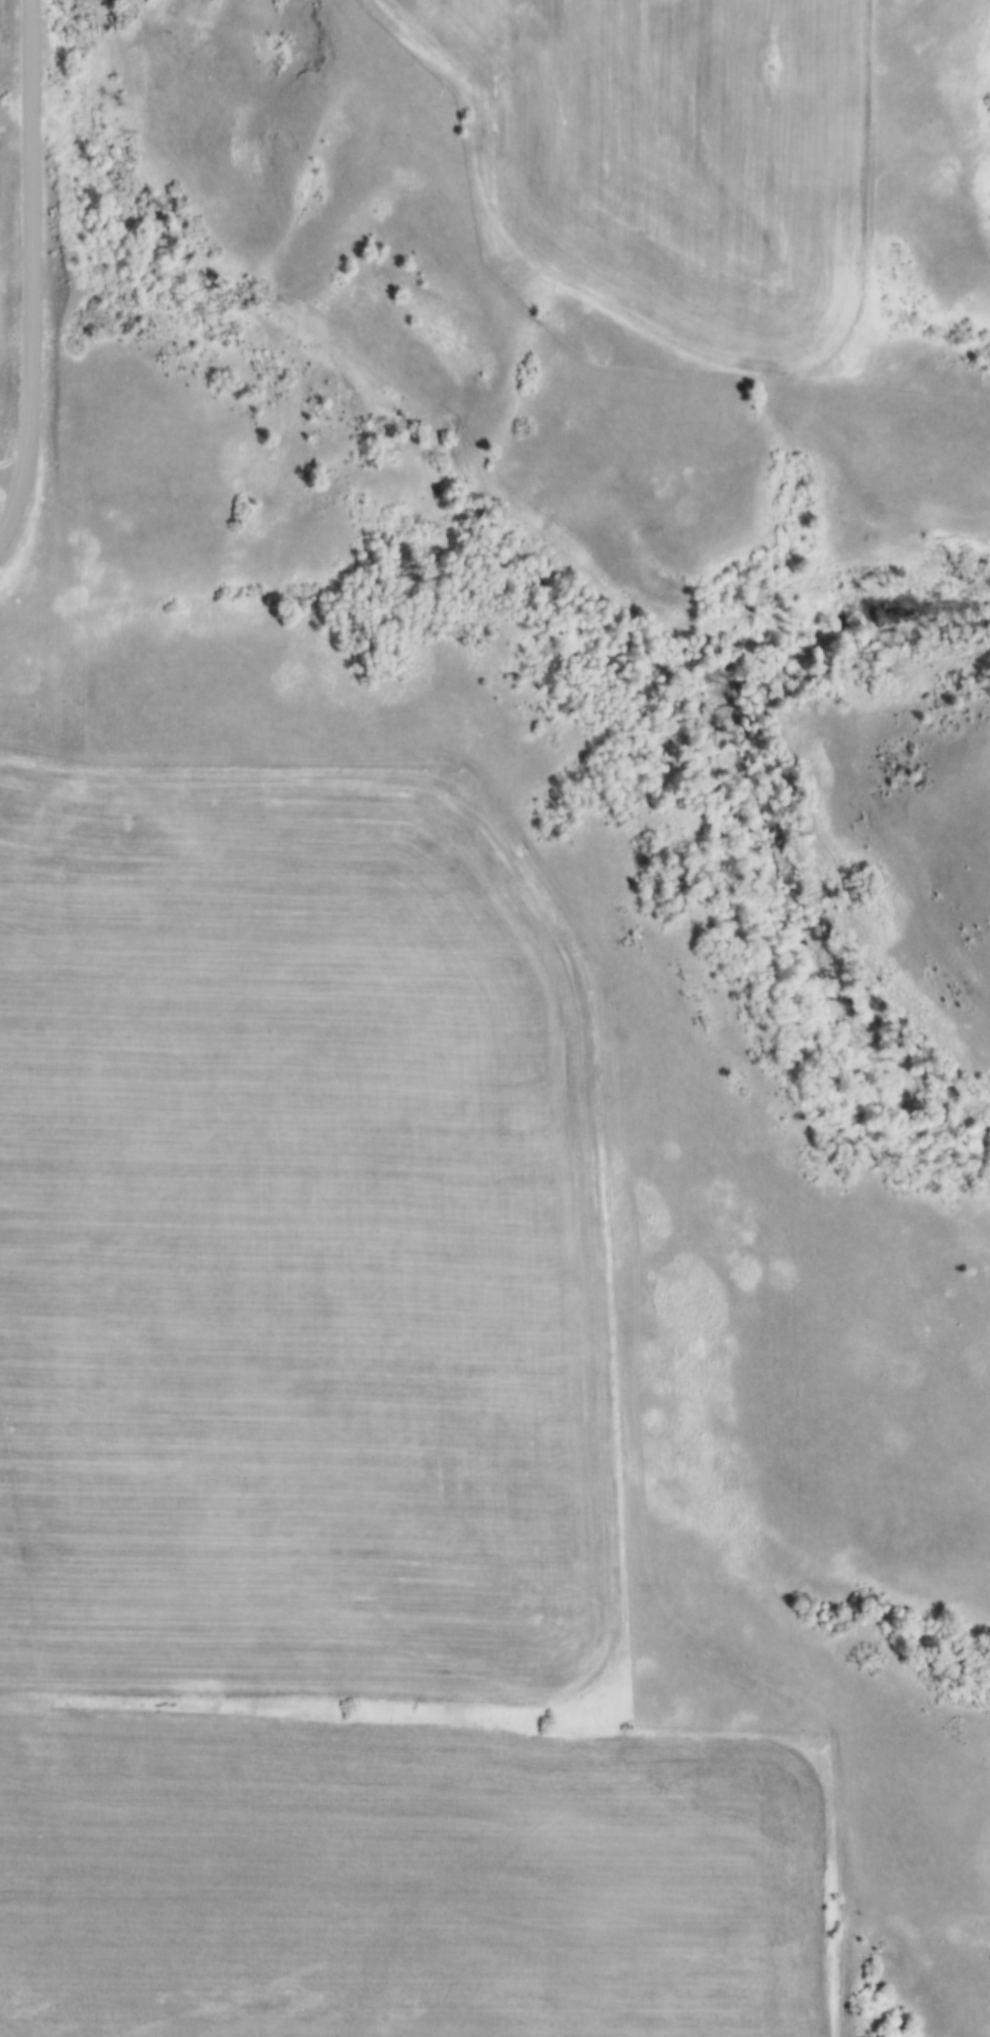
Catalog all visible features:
road: (30, 65)
road: (29, 336)
road: (617, 1133)

